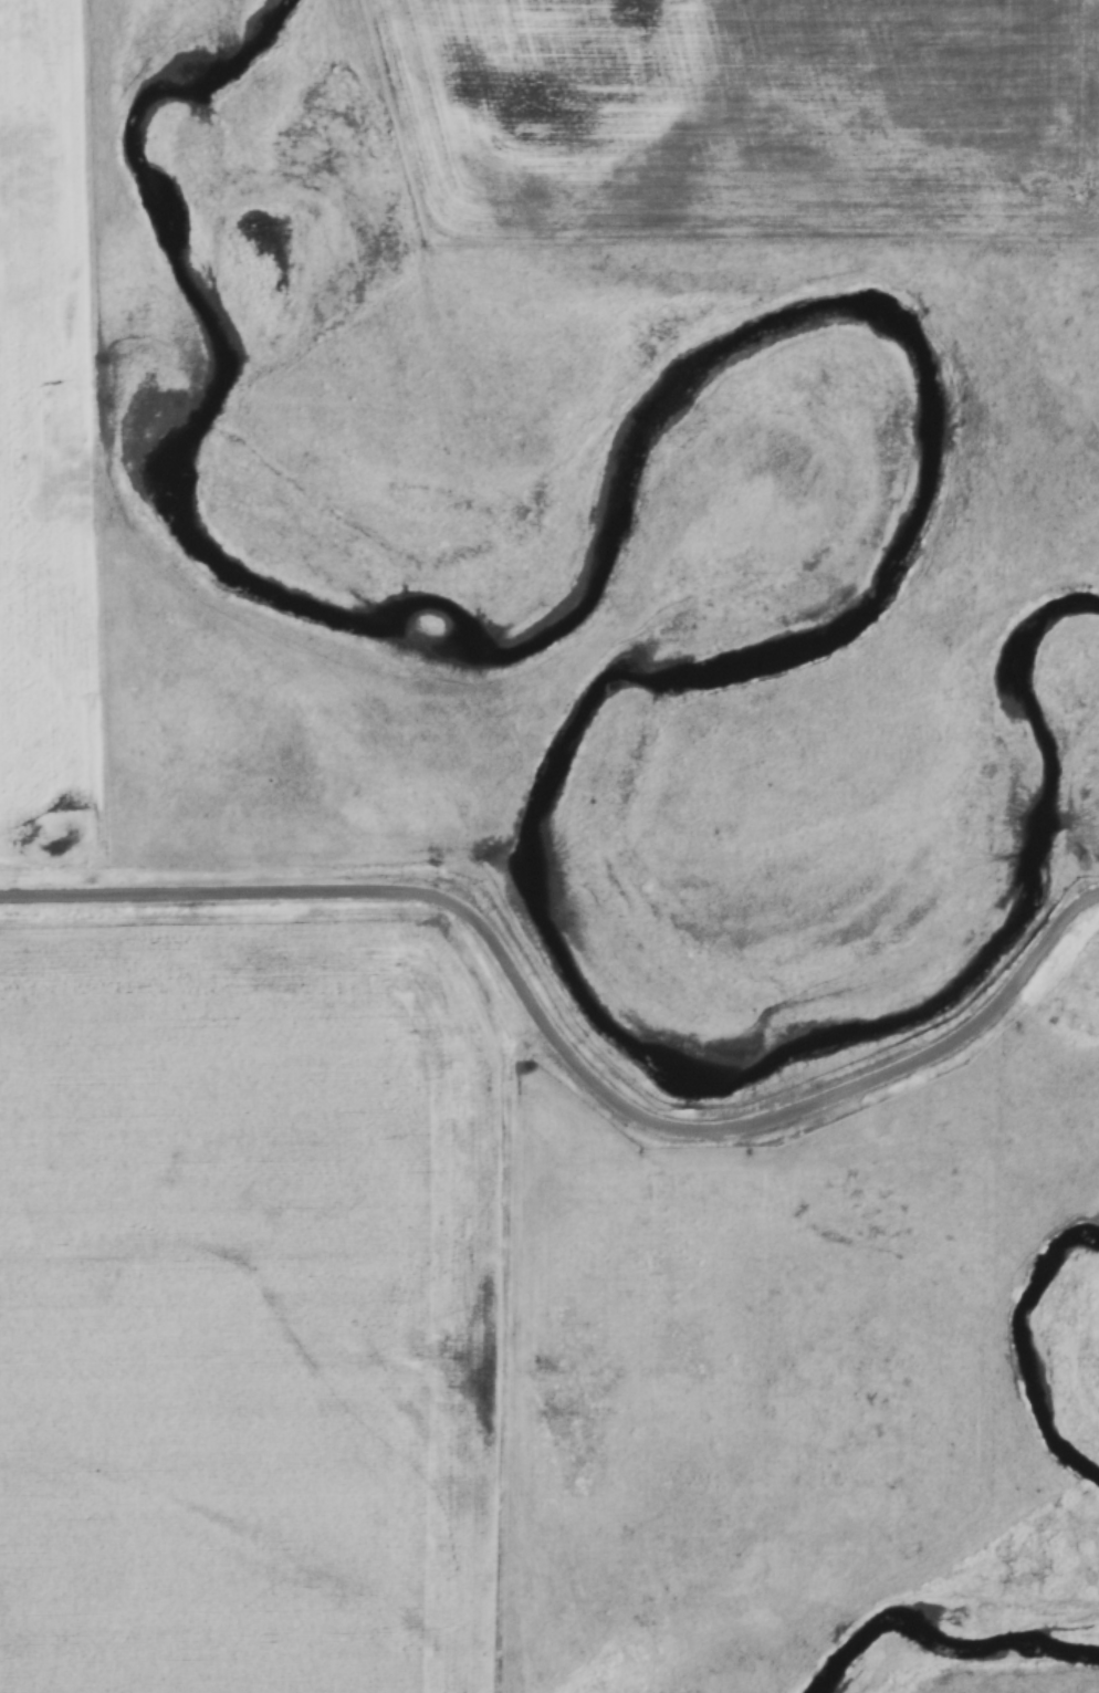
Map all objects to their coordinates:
river: (923, 415)
road: (564, 1049)
river: (1018, 1349)
river: (934, 1633)

